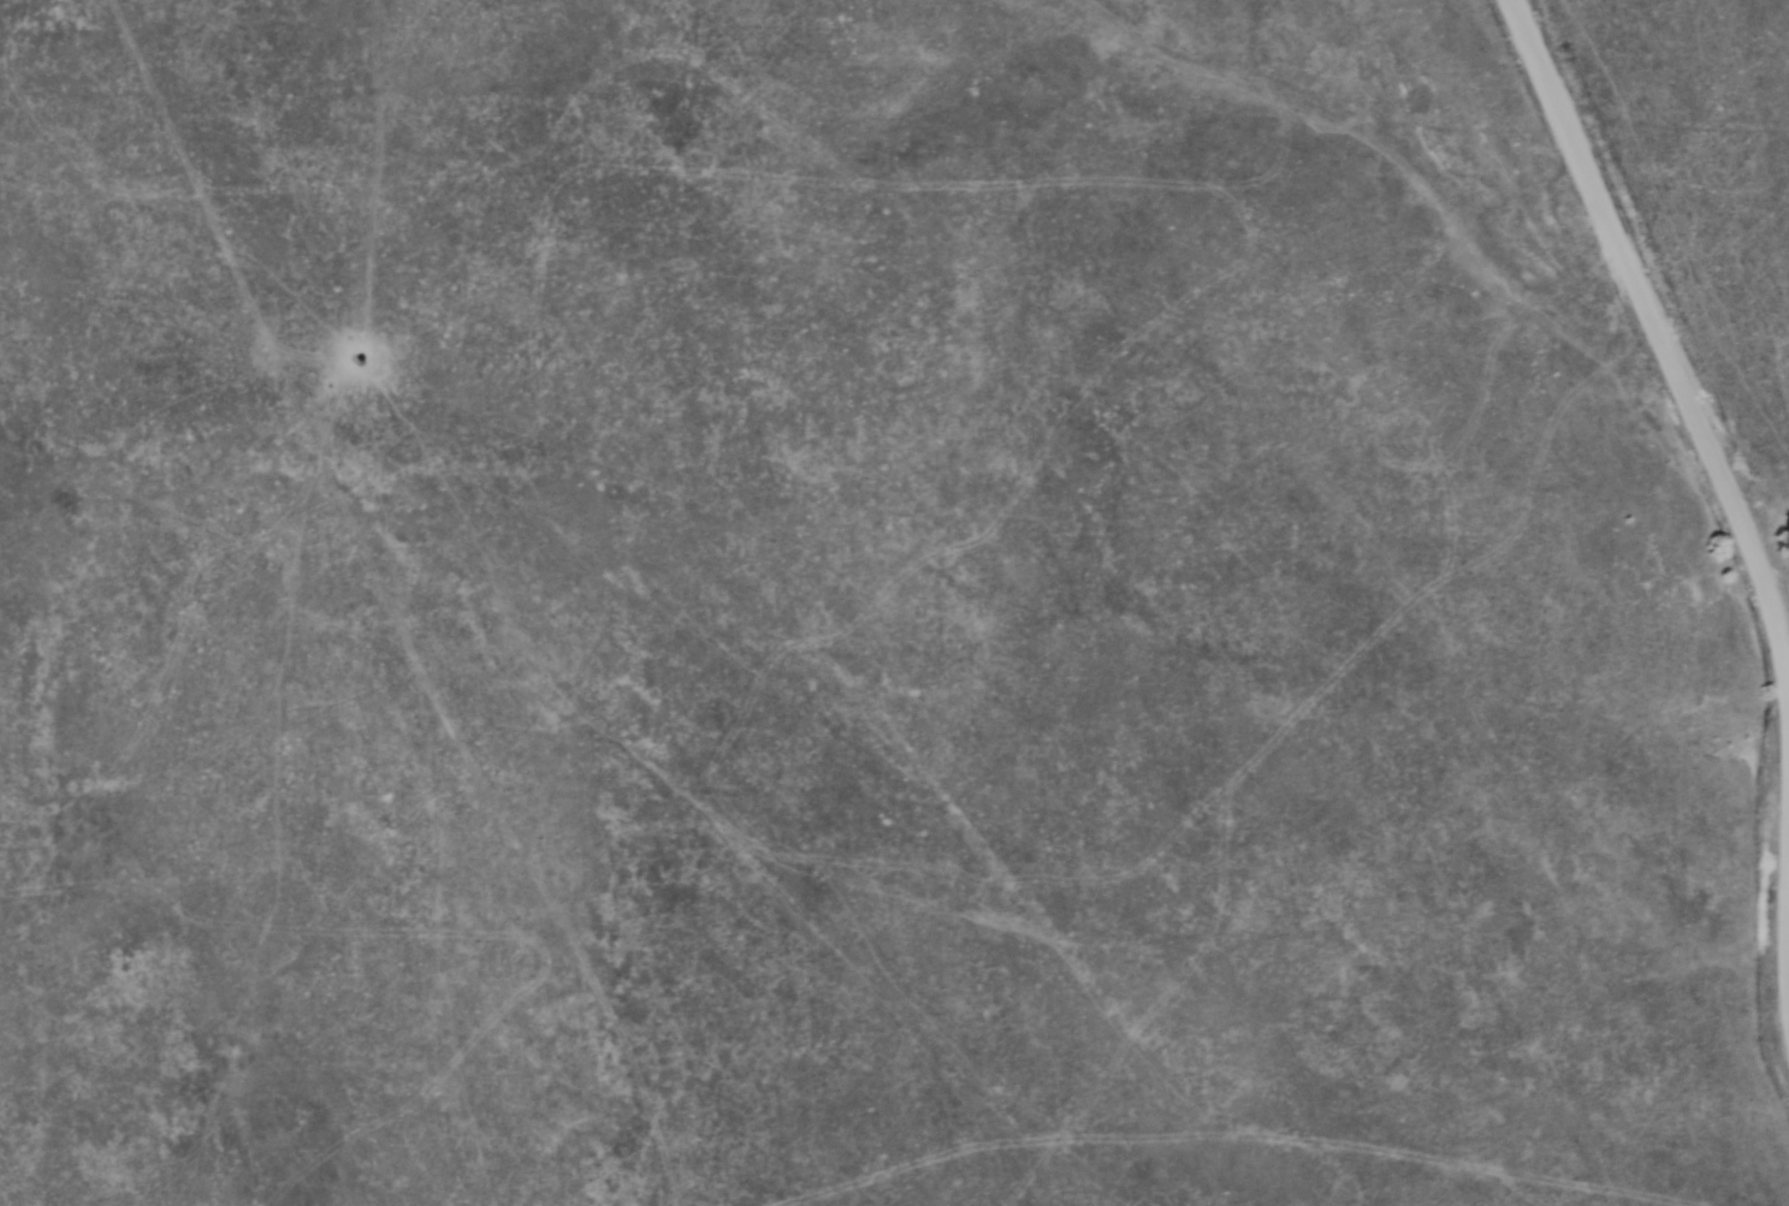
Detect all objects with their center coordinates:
park: (1729, 273)
road: (1659, 338)

